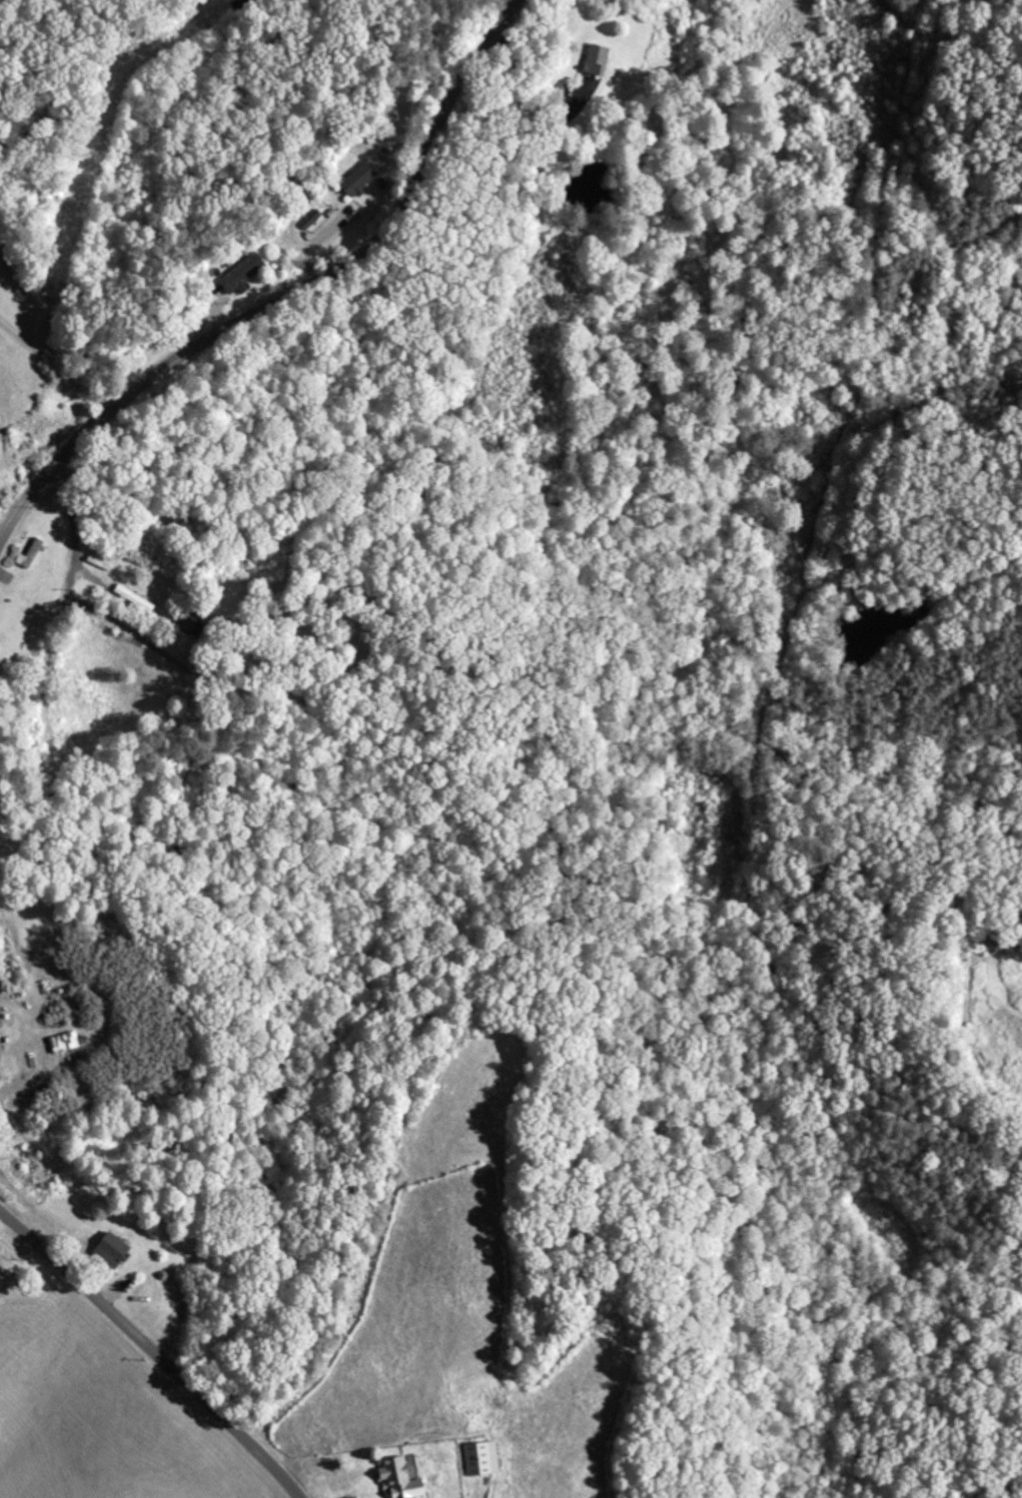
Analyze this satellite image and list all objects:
building: (595, 60)
building: (358, 180)
building: (241, 275)
road: (290, 297)
building: (30, 553)
building: (63, 1042)
building: (109, 1249)
road: (154, 1350)
building: (480, 1458)
building: (400, 1478)

